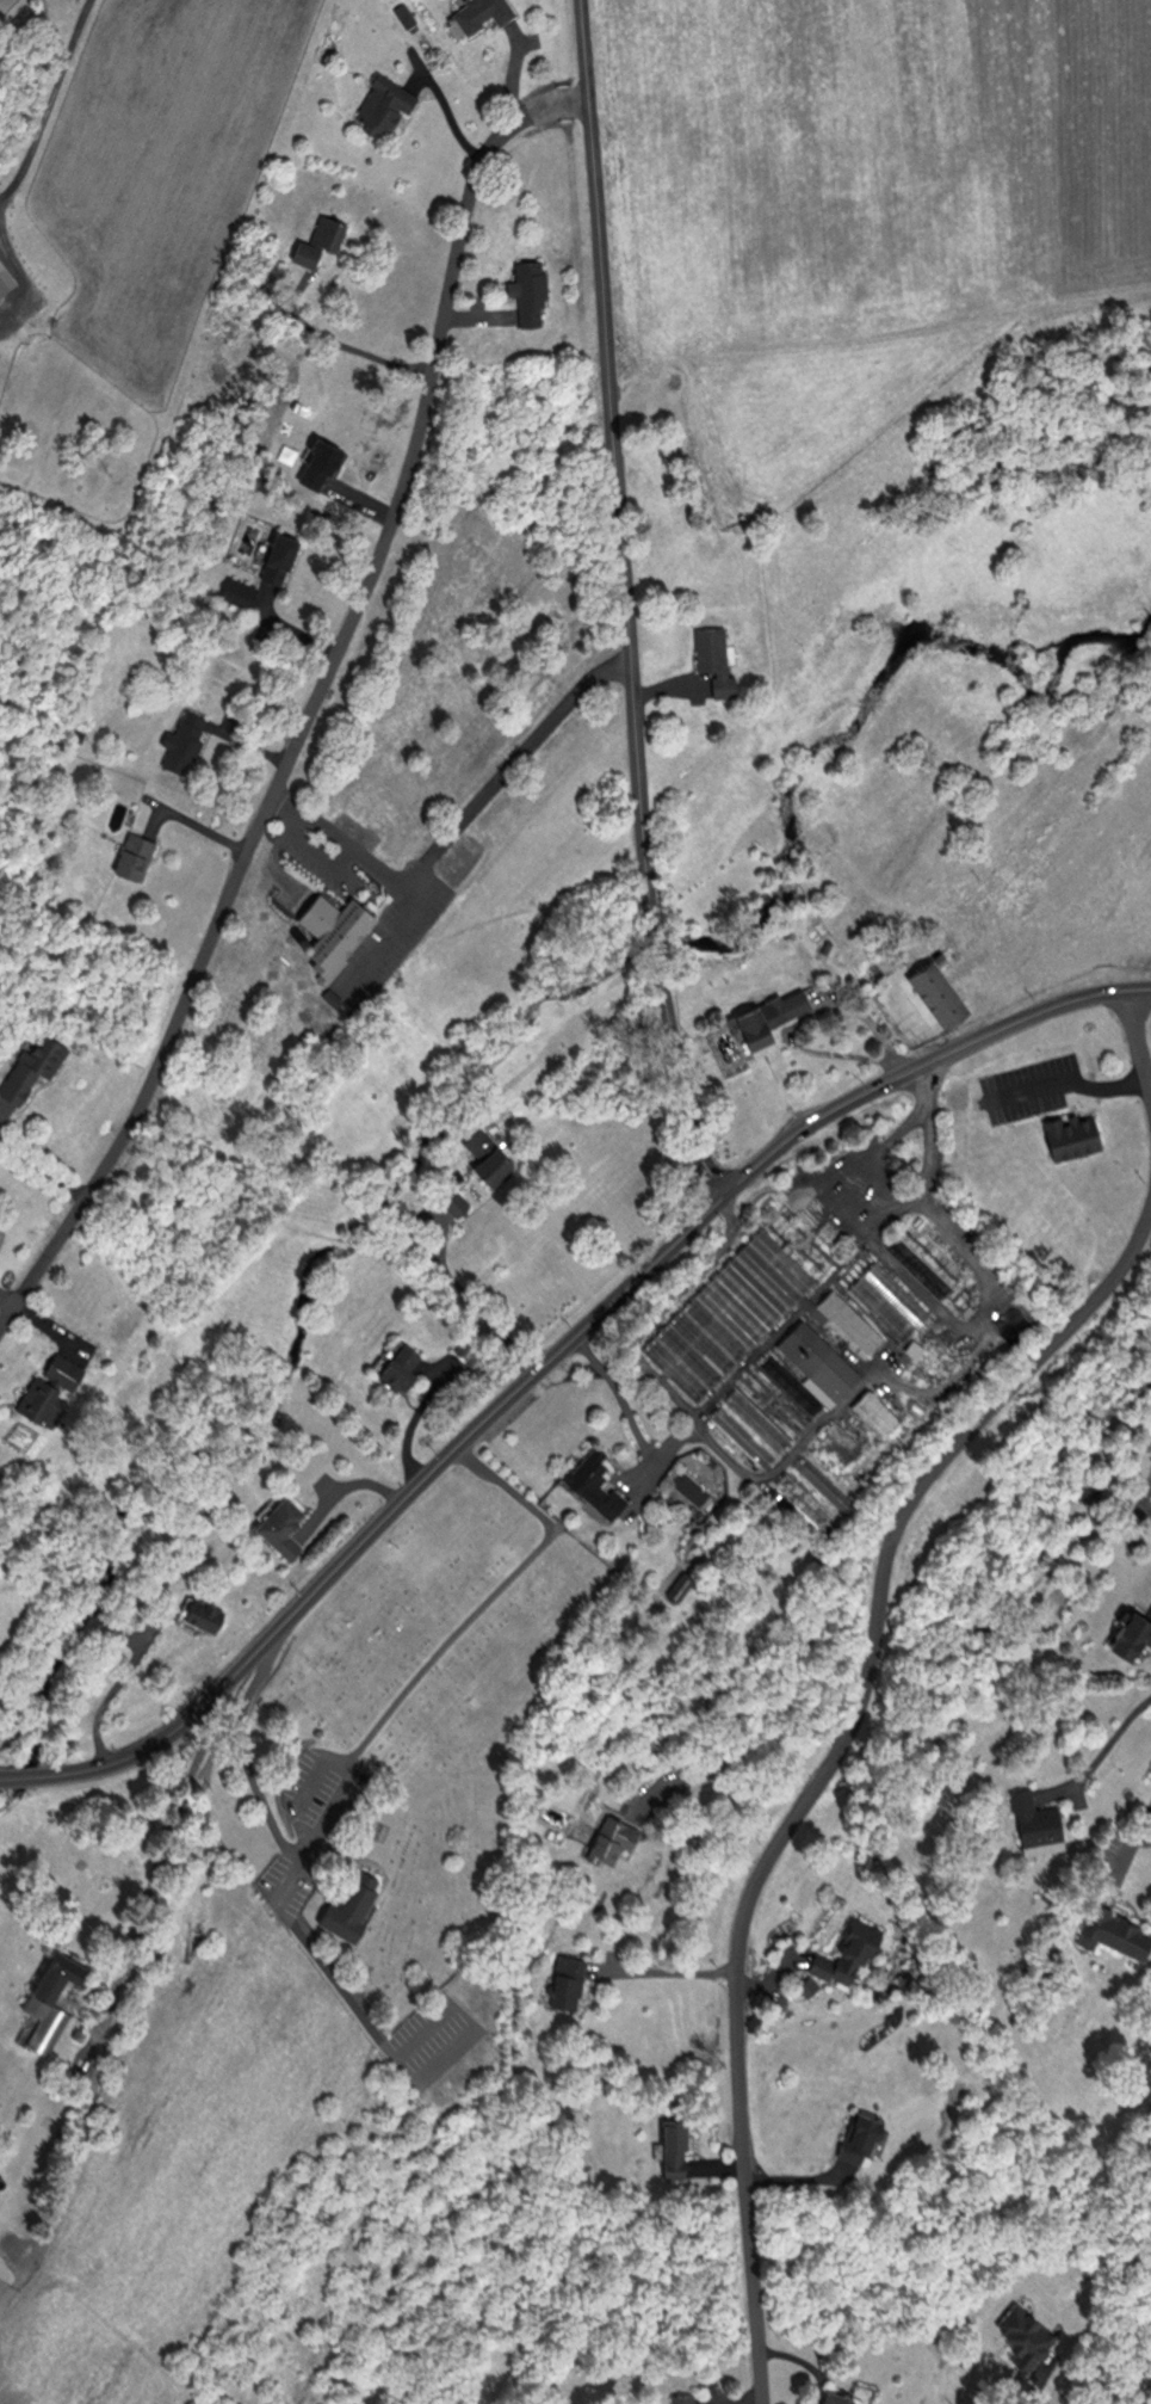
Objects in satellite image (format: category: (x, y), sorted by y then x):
building: (481, 13)
road: (45, 105)
building: (383, 106)
building: (318, 240)
road: (17, 279)
building: (4, 281)
building: (530, 290)
road: (345, 344)
road: (614, 460)
building: (277, 556)
building: (237, 591)
building: (713, 657)
road: (314, 702)
building: (184, 740)
road: (459, 822)
building: (134, 855)
building: (333, 930)
road: (388, 937)
road: (661, 937)
building: (936, 992)
building: (768, 1021)
road: (1138, 1041)
building: (32, 1065)
road: (685, 1077)
road: (1077, 1089)
building: (1071, 1135)
building: (487, 1155)
road: (847, 1171)
road: (38, 1175)
building: (456, 1202)
building: (892, 1295)
road: (656, 1314)
building: (748, 1314)
road: (490, 1323)
building: (124, 1327)
road: (564, 1344)
building: (817, 1361)
building: (400, 1364)
building: (50, 1387)
building: (874, 1411)
road: (630, 1416)
building: (760, 1418)
building: (840, 1438)
building: (747, 1440)
building: (595, 1484)
building: (280, 1525)
road: (484, 1601)
building: (202, 1613)
building: (1132, 1634)
road: (105, 1694)
road: (755, 1747)
road: (1102, 1752)
road: (827, 1763)
road: (19, 1775)
road: (4, 1776)
building: (1035, 1824)
road: (311, 1831)
building: (609, 1838)
road: (1131, 1847)
road: (286, 1872)
building: (351, 1901)
road: (140, 1922)
building: (1113, 1931)
building: (847, 1954)
road: (664, 1972)
building: (565, 1981)
building: (48, 2003)
building: (858, 2137)
building: (674, 2149)
building: (1023, 2334)
road: (1025, 2390)
building: (833, 2396)
building: (683, 2397)

